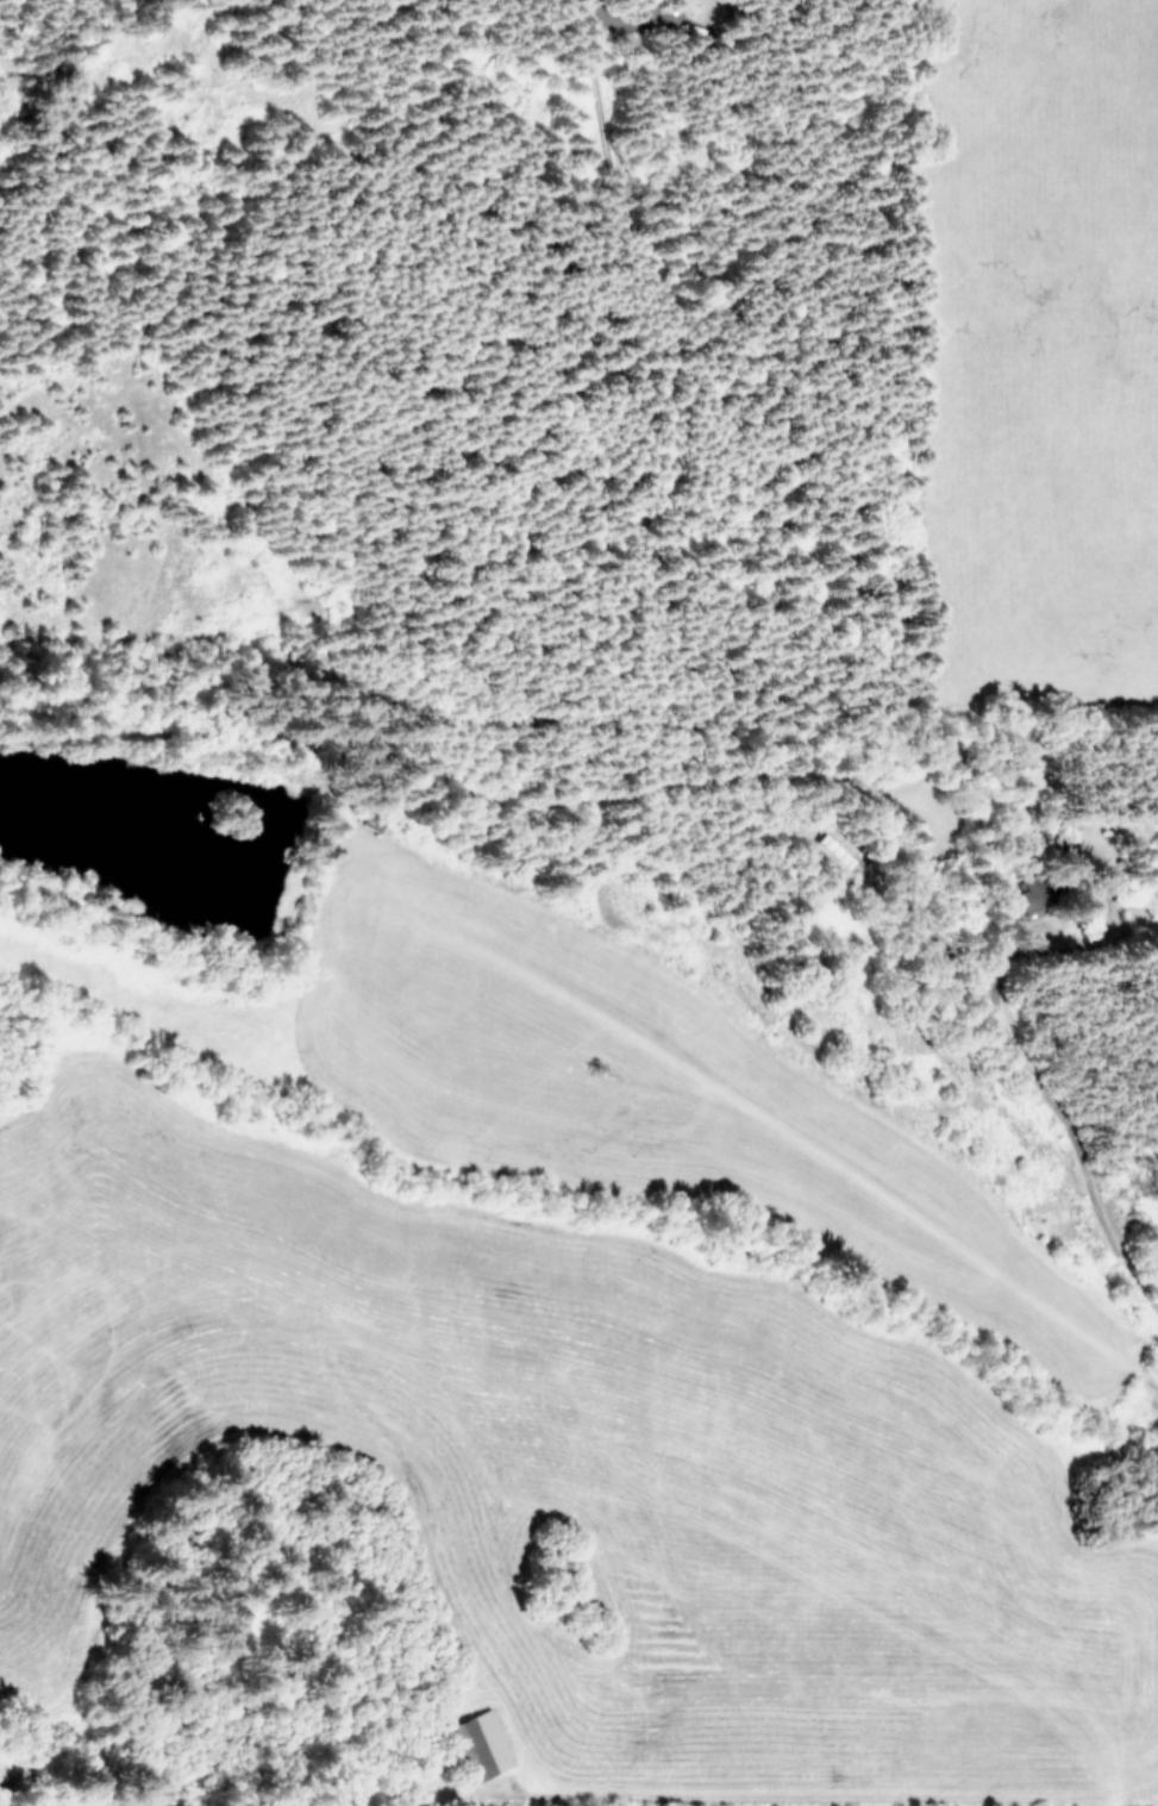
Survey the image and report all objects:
building: (1028, 895)
road: (1069, 1142)
crop: (546, 1354)
building: (480, 1744)
crop: (13, 1802)

